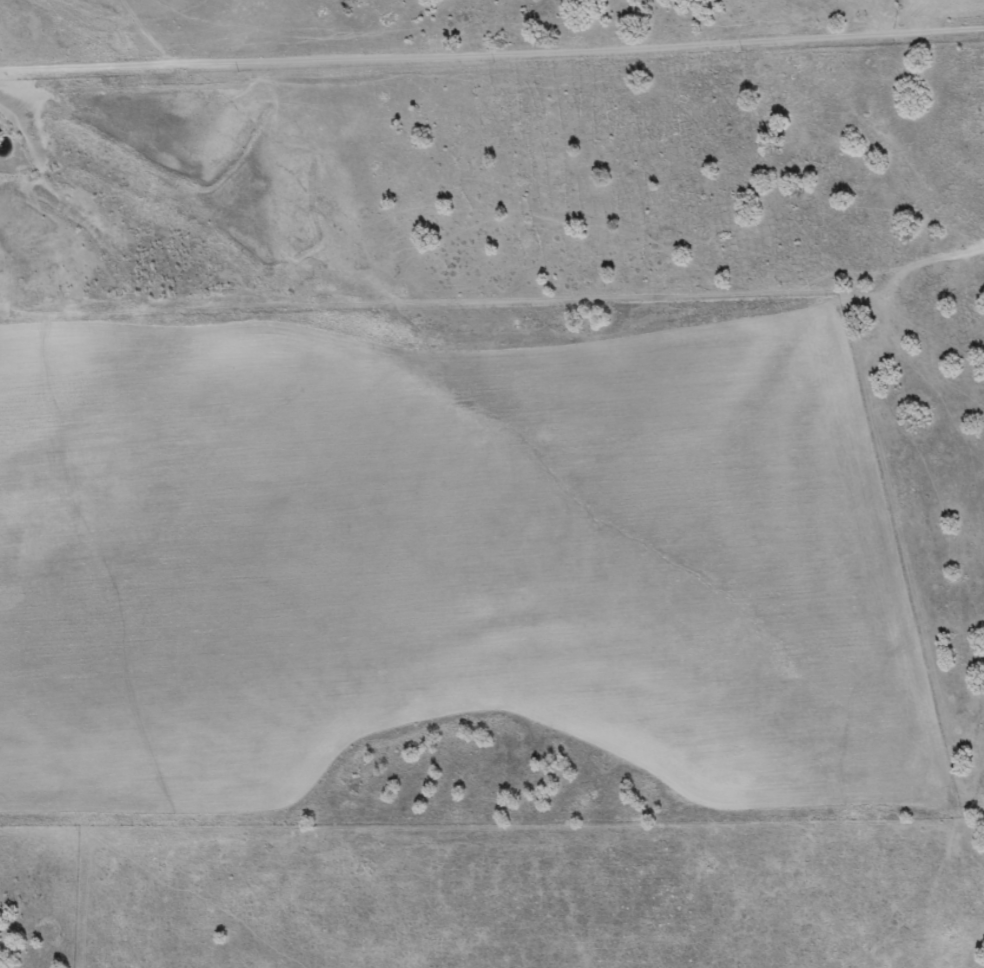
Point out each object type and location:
road: (492, 45)

